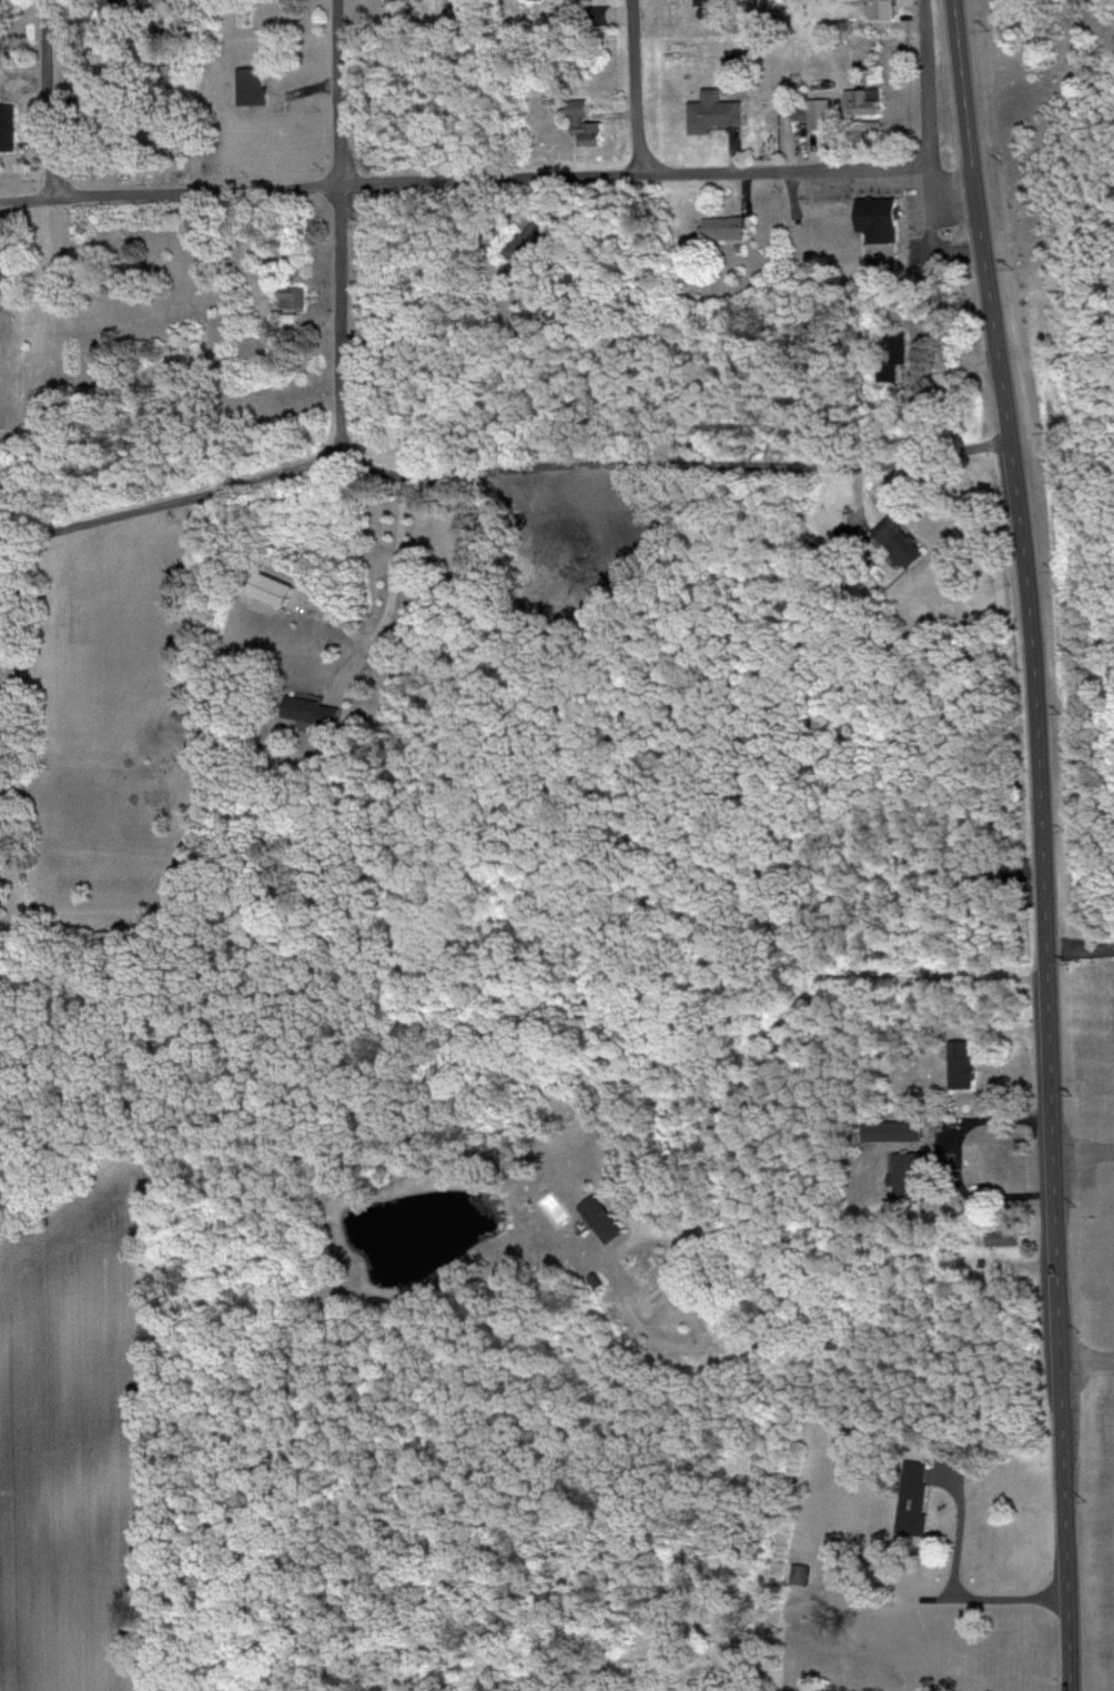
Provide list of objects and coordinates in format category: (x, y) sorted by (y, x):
building: (883, 9)
road: (925, 83)
building: (256, 87)
road: (640, 88)
road: (49, 100)
building: (869, 101)
building: (717, 112)
building: (585, 124)
building: (9, 128)
road: (512, 181)
road: (24, 200)
building: (882, 219)
road: (346, 227)
building: (293, 298)
road: (706, 463)
road: (307, 464)
road: (103, 516)
building: (276, 587)
road: (386, 593)
road: (191, 618)
road: (1041, 843)
road: (779, 1031)
building: (965, 1076)
building: (911, 1130)
road: (1085, 1154)
road: (952, 1162)
building: (605, 1219)
building: (1005, 1237)
road: (1090, 1361)
road: (959, 1584)

